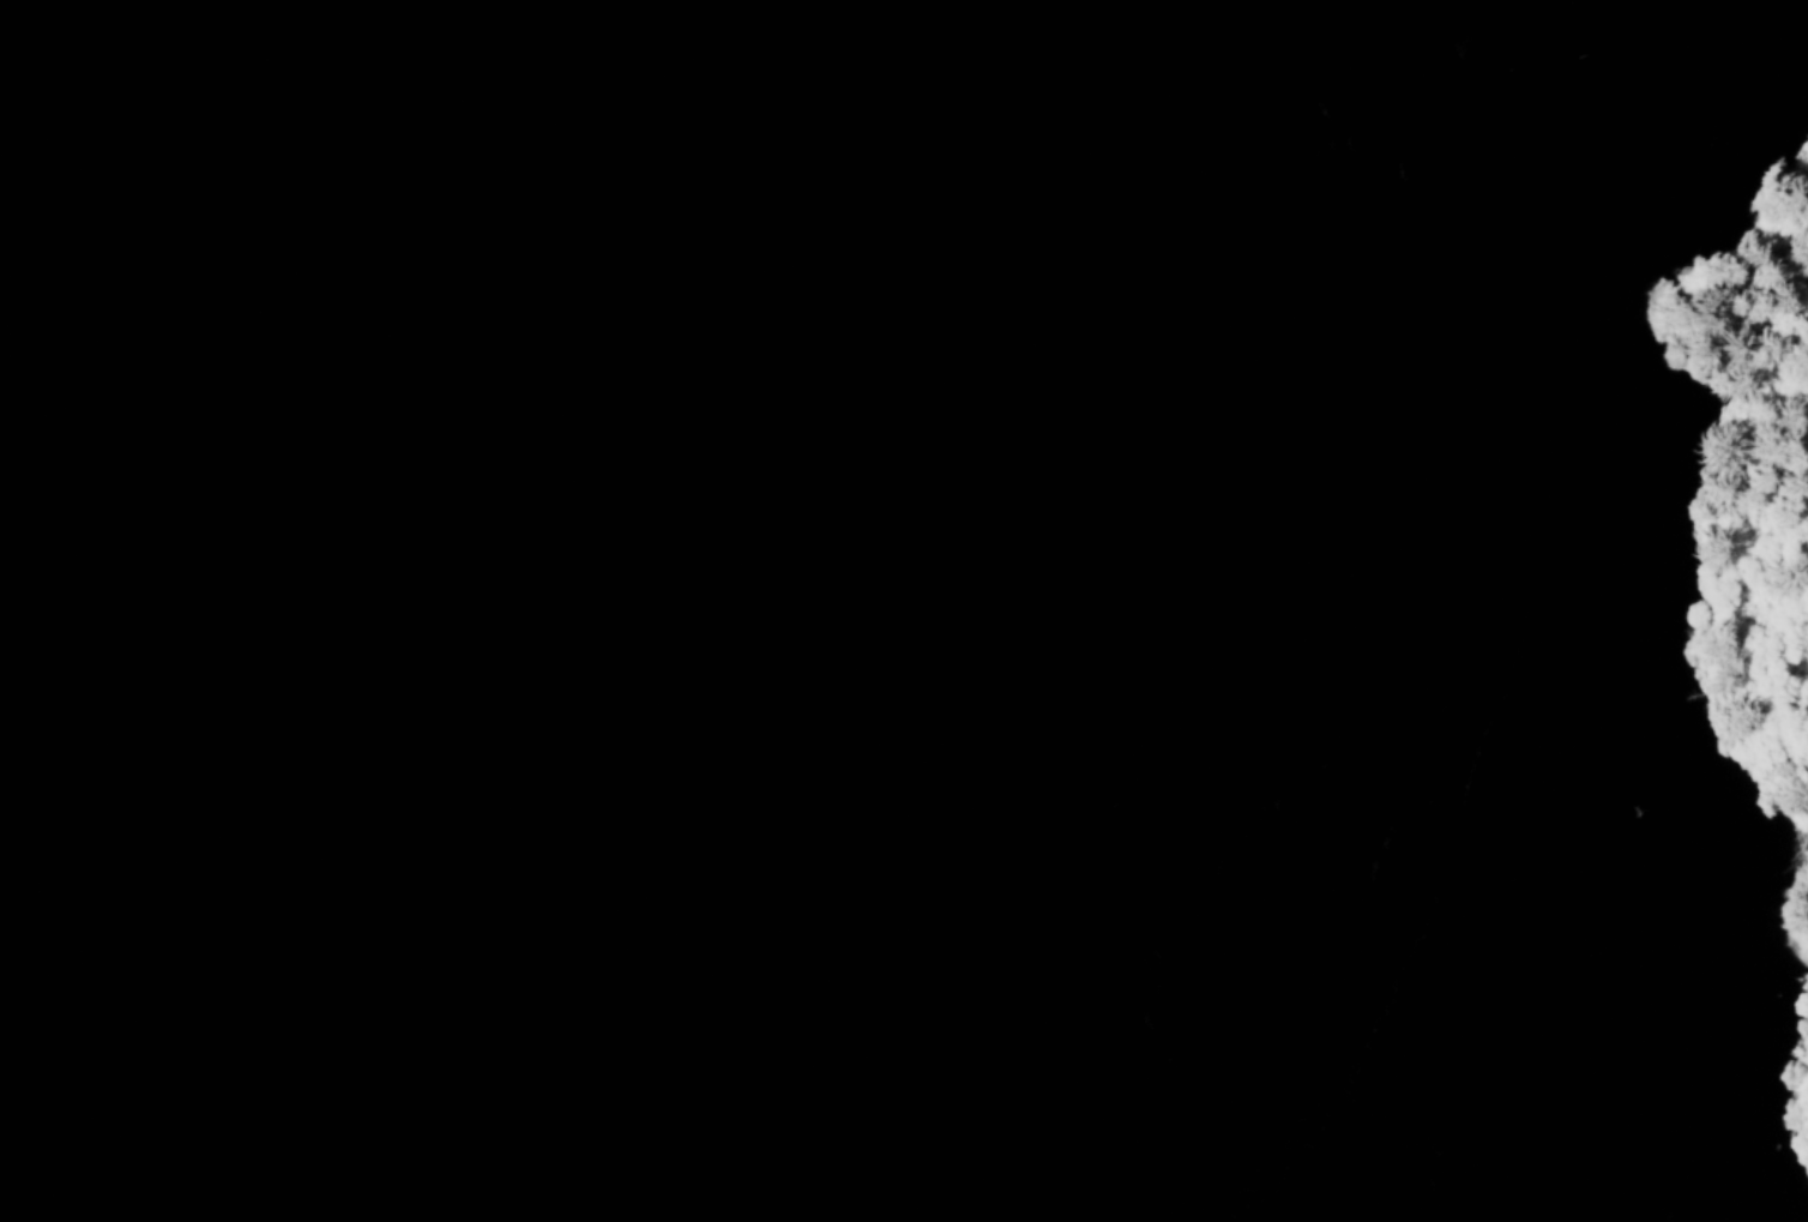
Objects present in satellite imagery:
river: (593, 297)
road: (1754, 597)
river: (195, 823)

